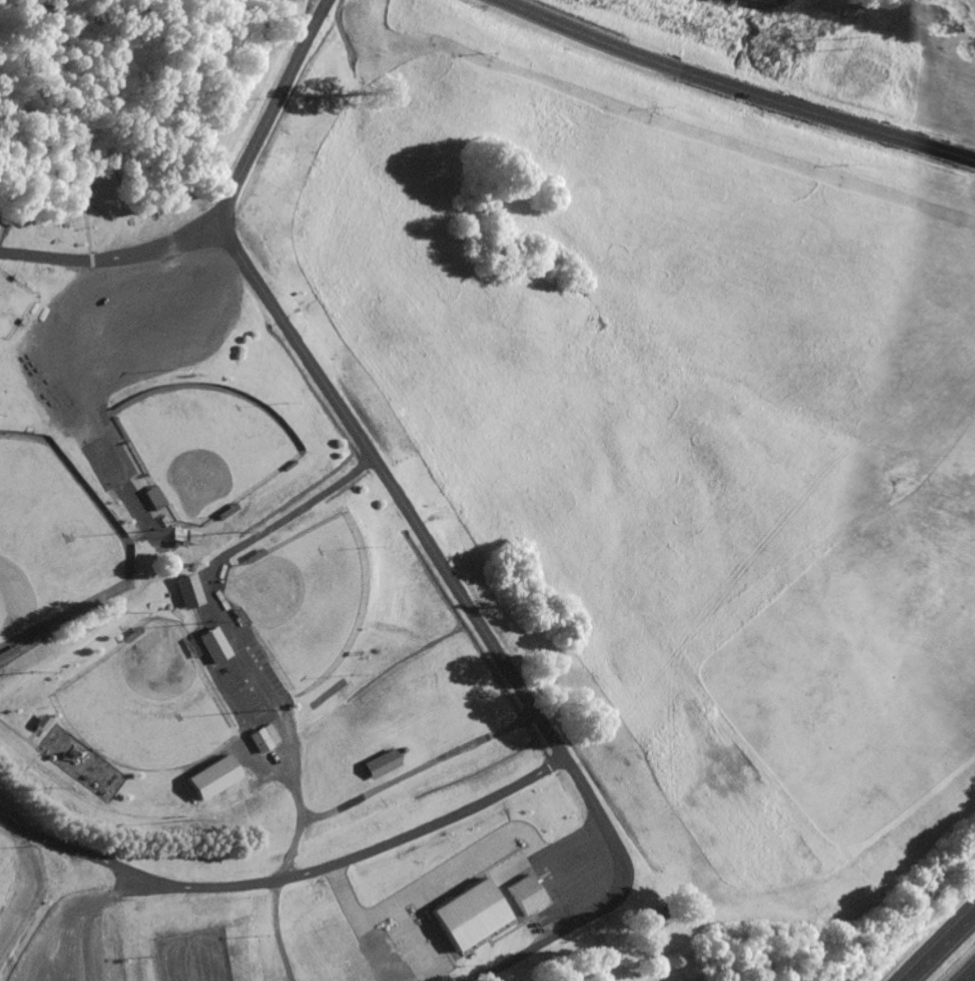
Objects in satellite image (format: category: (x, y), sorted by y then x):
road: (731, 89)
road: (115, 257)
park: (11, 304)
parking lot: (136, 320)
road: (327, 388)
park: (204, 446)
park: (52, 546)
building: (187, 593)
park: (302, 599)
road: (215, 611)
building: (212, 647)
building: (8, 654)
park: (148, 703)
building: (263, 740)
building: (379, 766)
building: (213, 780)
road: (392, 780)
parking lot: (578, 872)
road: (289, 877)
building: (526, 895)
road: (612, 899)
road: (95, 900)
building: (471, 916)
road: (278, 931)
parking lot: (69, 945)
road: (942, 949)
road: (972, 978)

